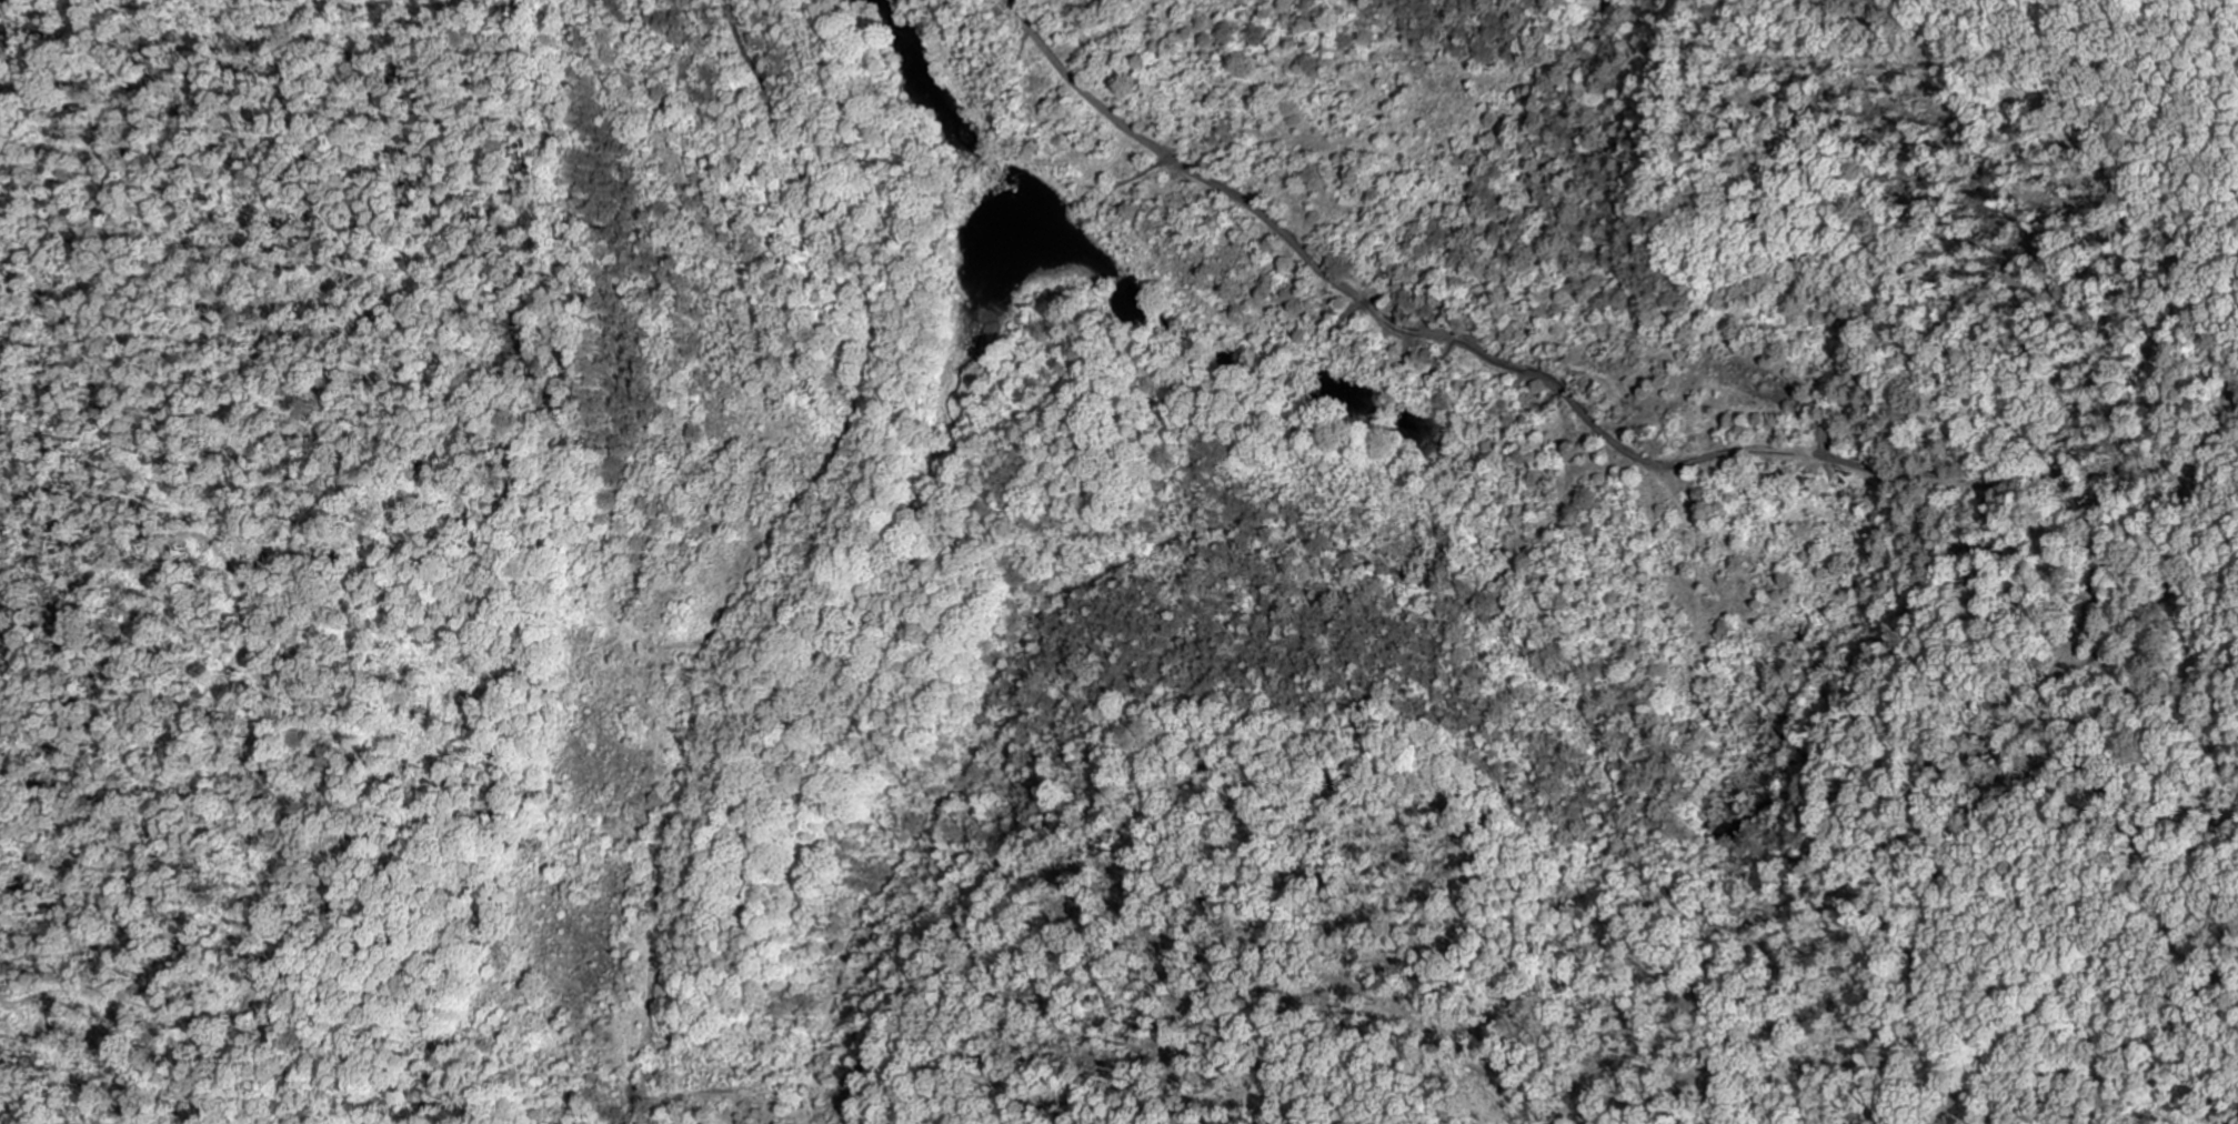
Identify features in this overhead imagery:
road: (1959, 1116)

